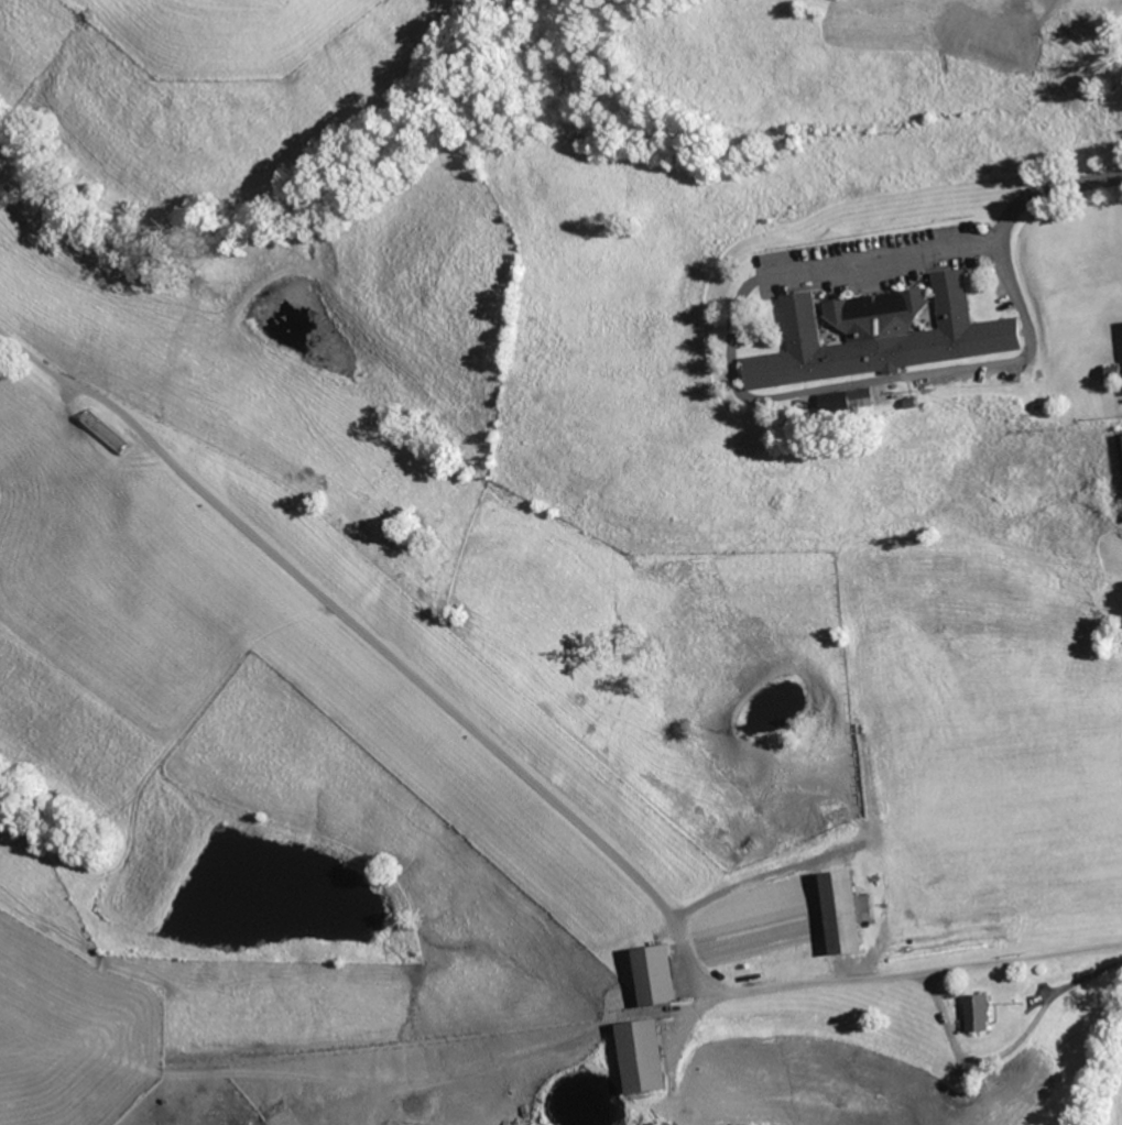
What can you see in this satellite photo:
road: (1049, 190)
road: (885, 259)
building: (882, 335)
road: (879, 379)
building: (846, 397)
building: (850, 911)
building: (661, 974)
building: (981, 1012)
building: (649, 1056)

